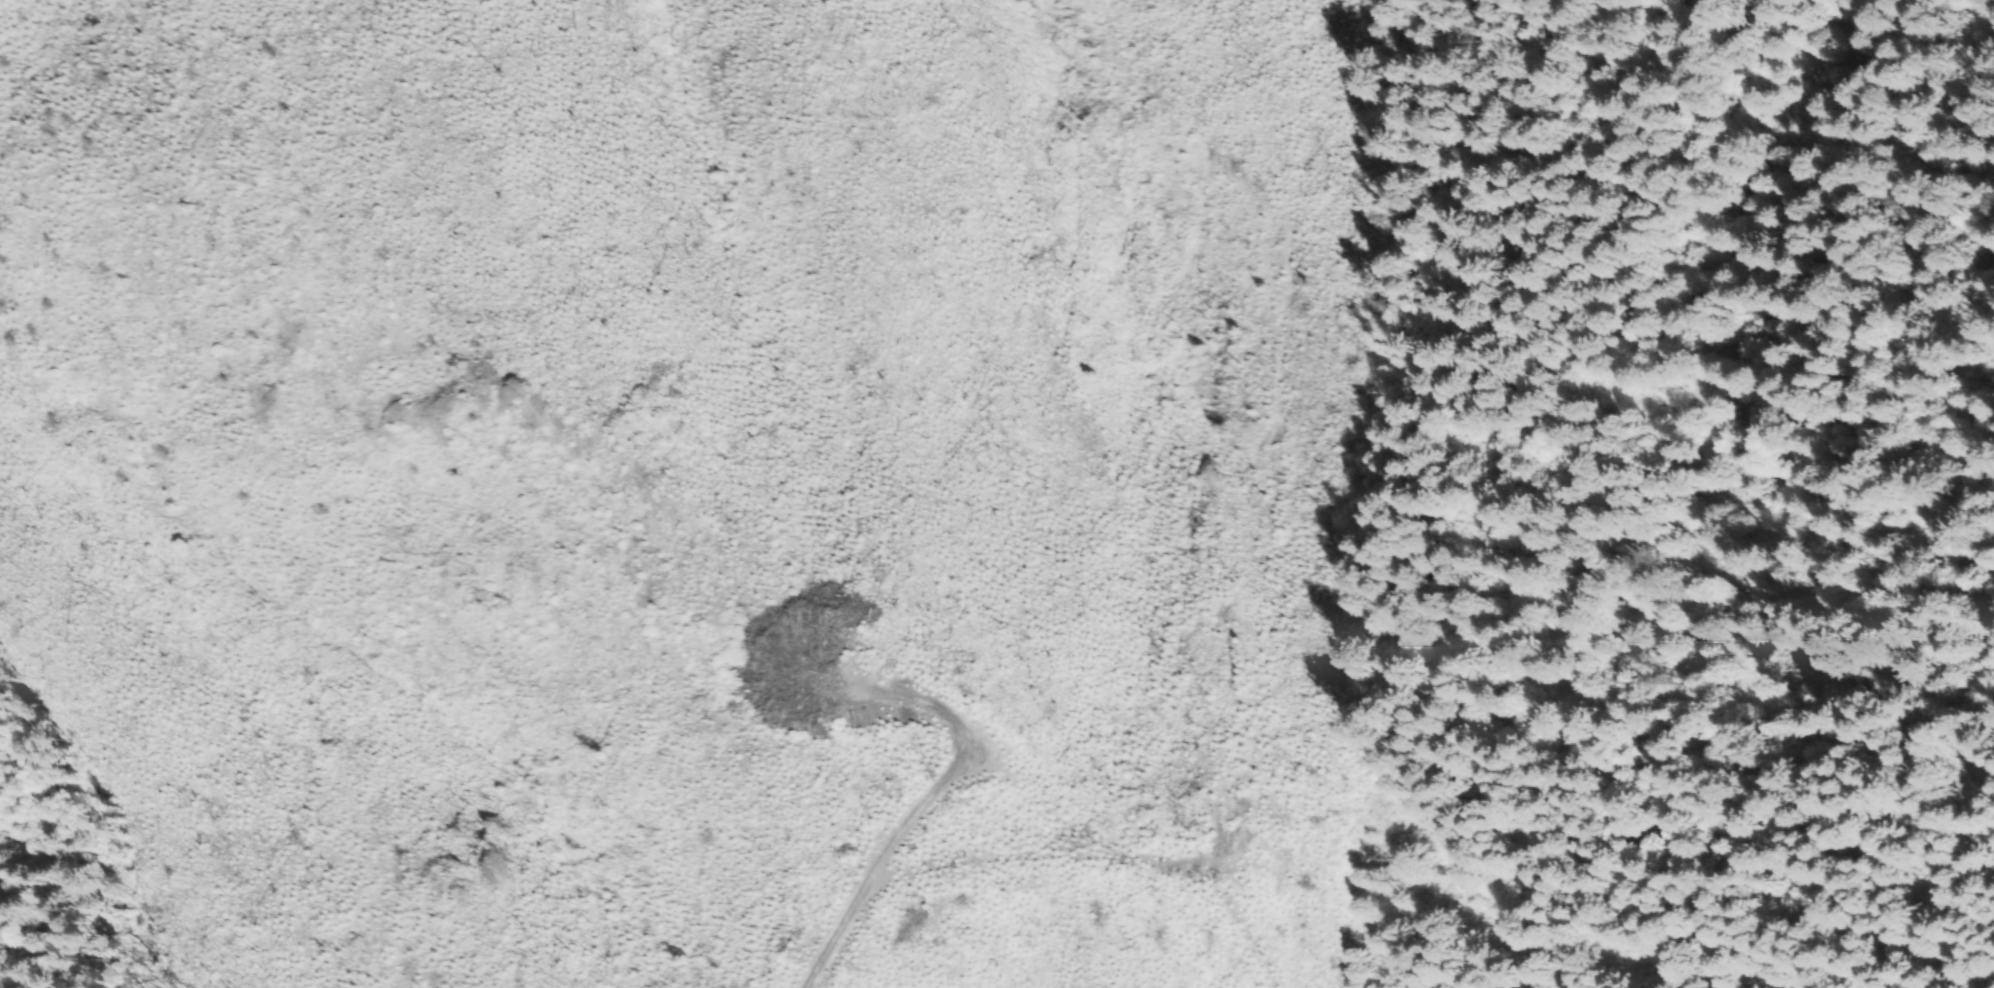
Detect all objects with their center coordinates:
road: (928, 792)

